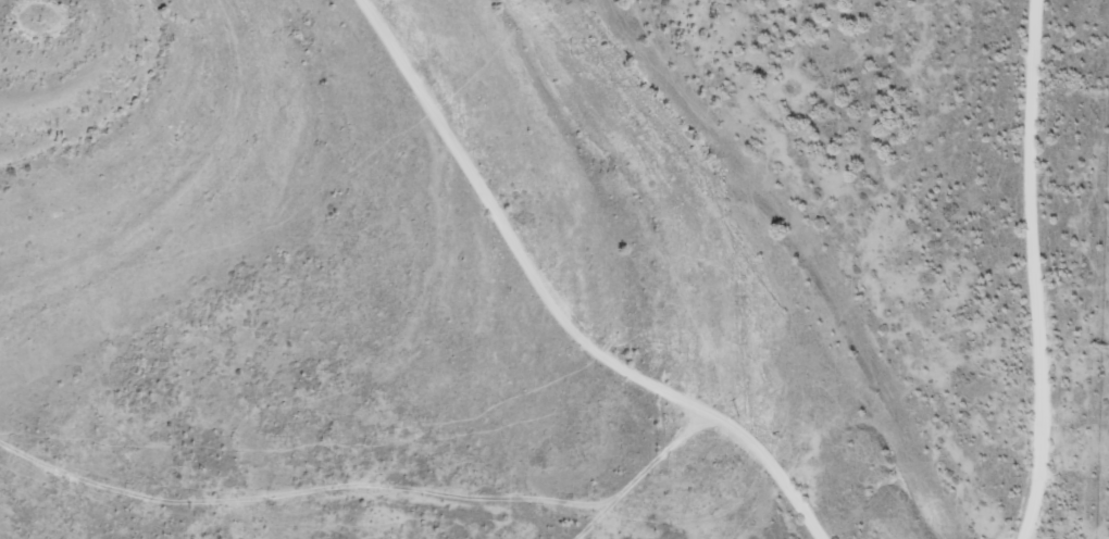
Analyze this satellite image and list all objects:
road: (1074, 269)
road: (591, 274)
road: (416, 492)

